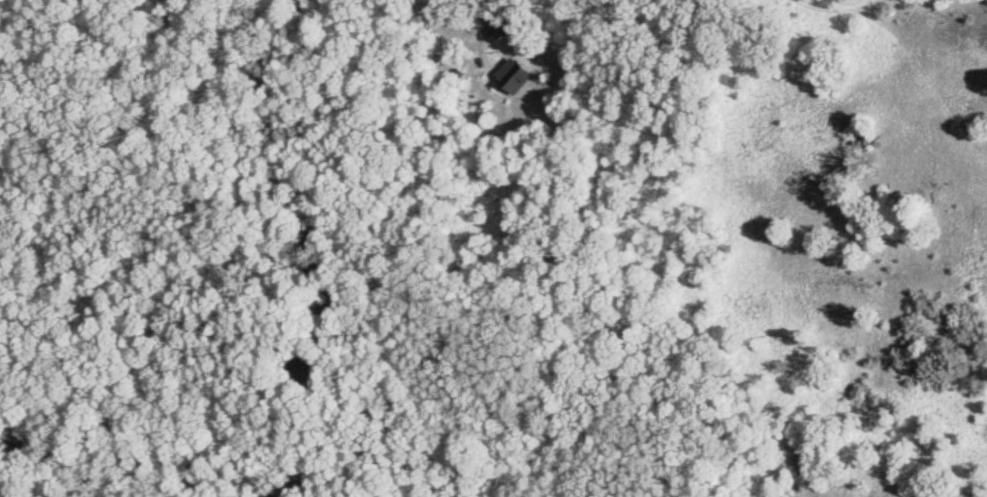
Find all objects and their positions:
building: (502, 19)
building: (525, 77)

